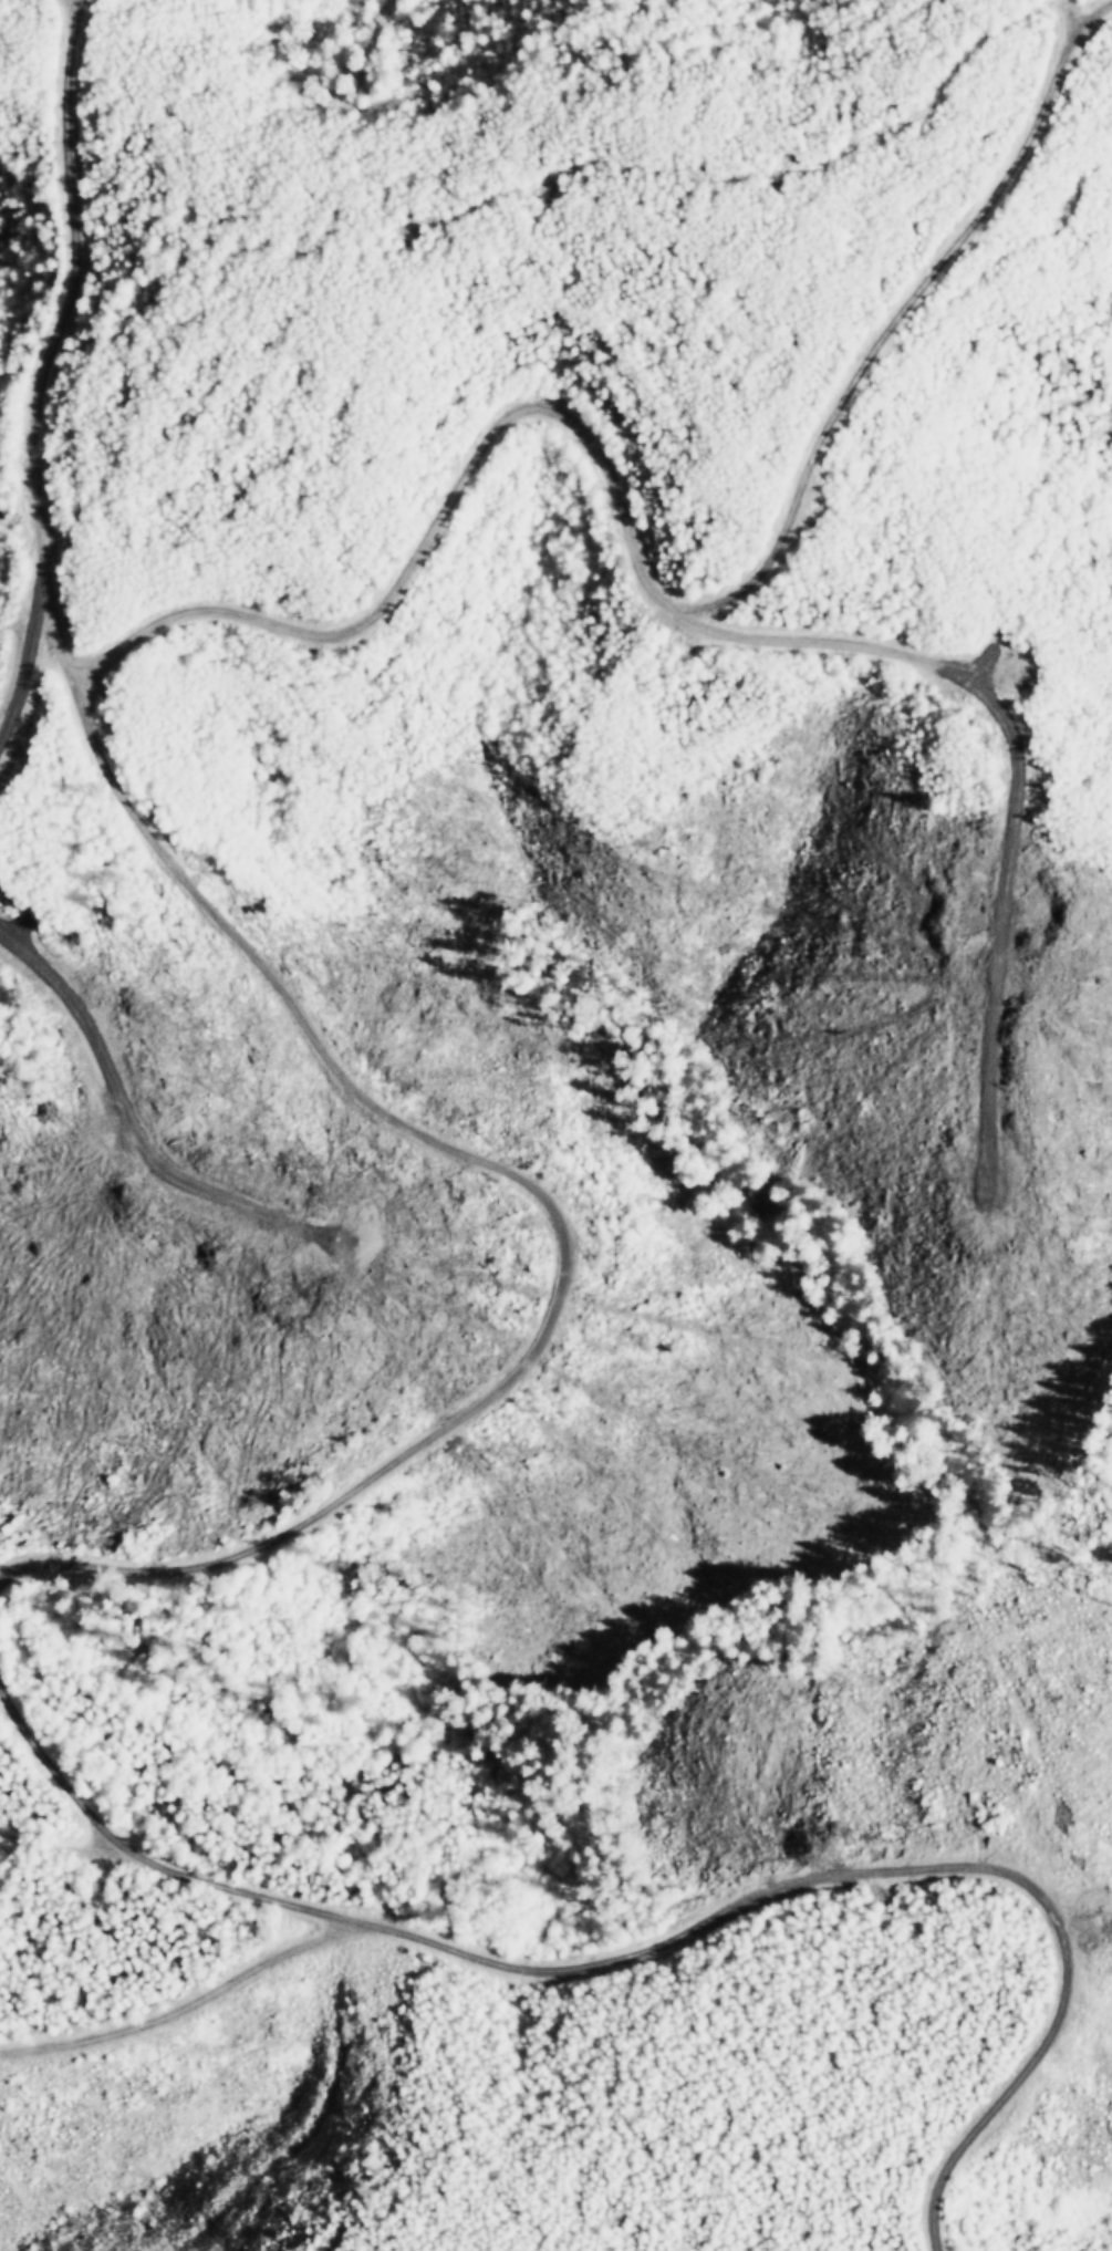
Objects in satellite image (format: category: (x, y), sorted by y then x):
road: (634, 533)
road: (363, 1069)
road: (48, 1838)
road: (532, 1962)
road: (162, 2021)
road: (1033, 2114)

